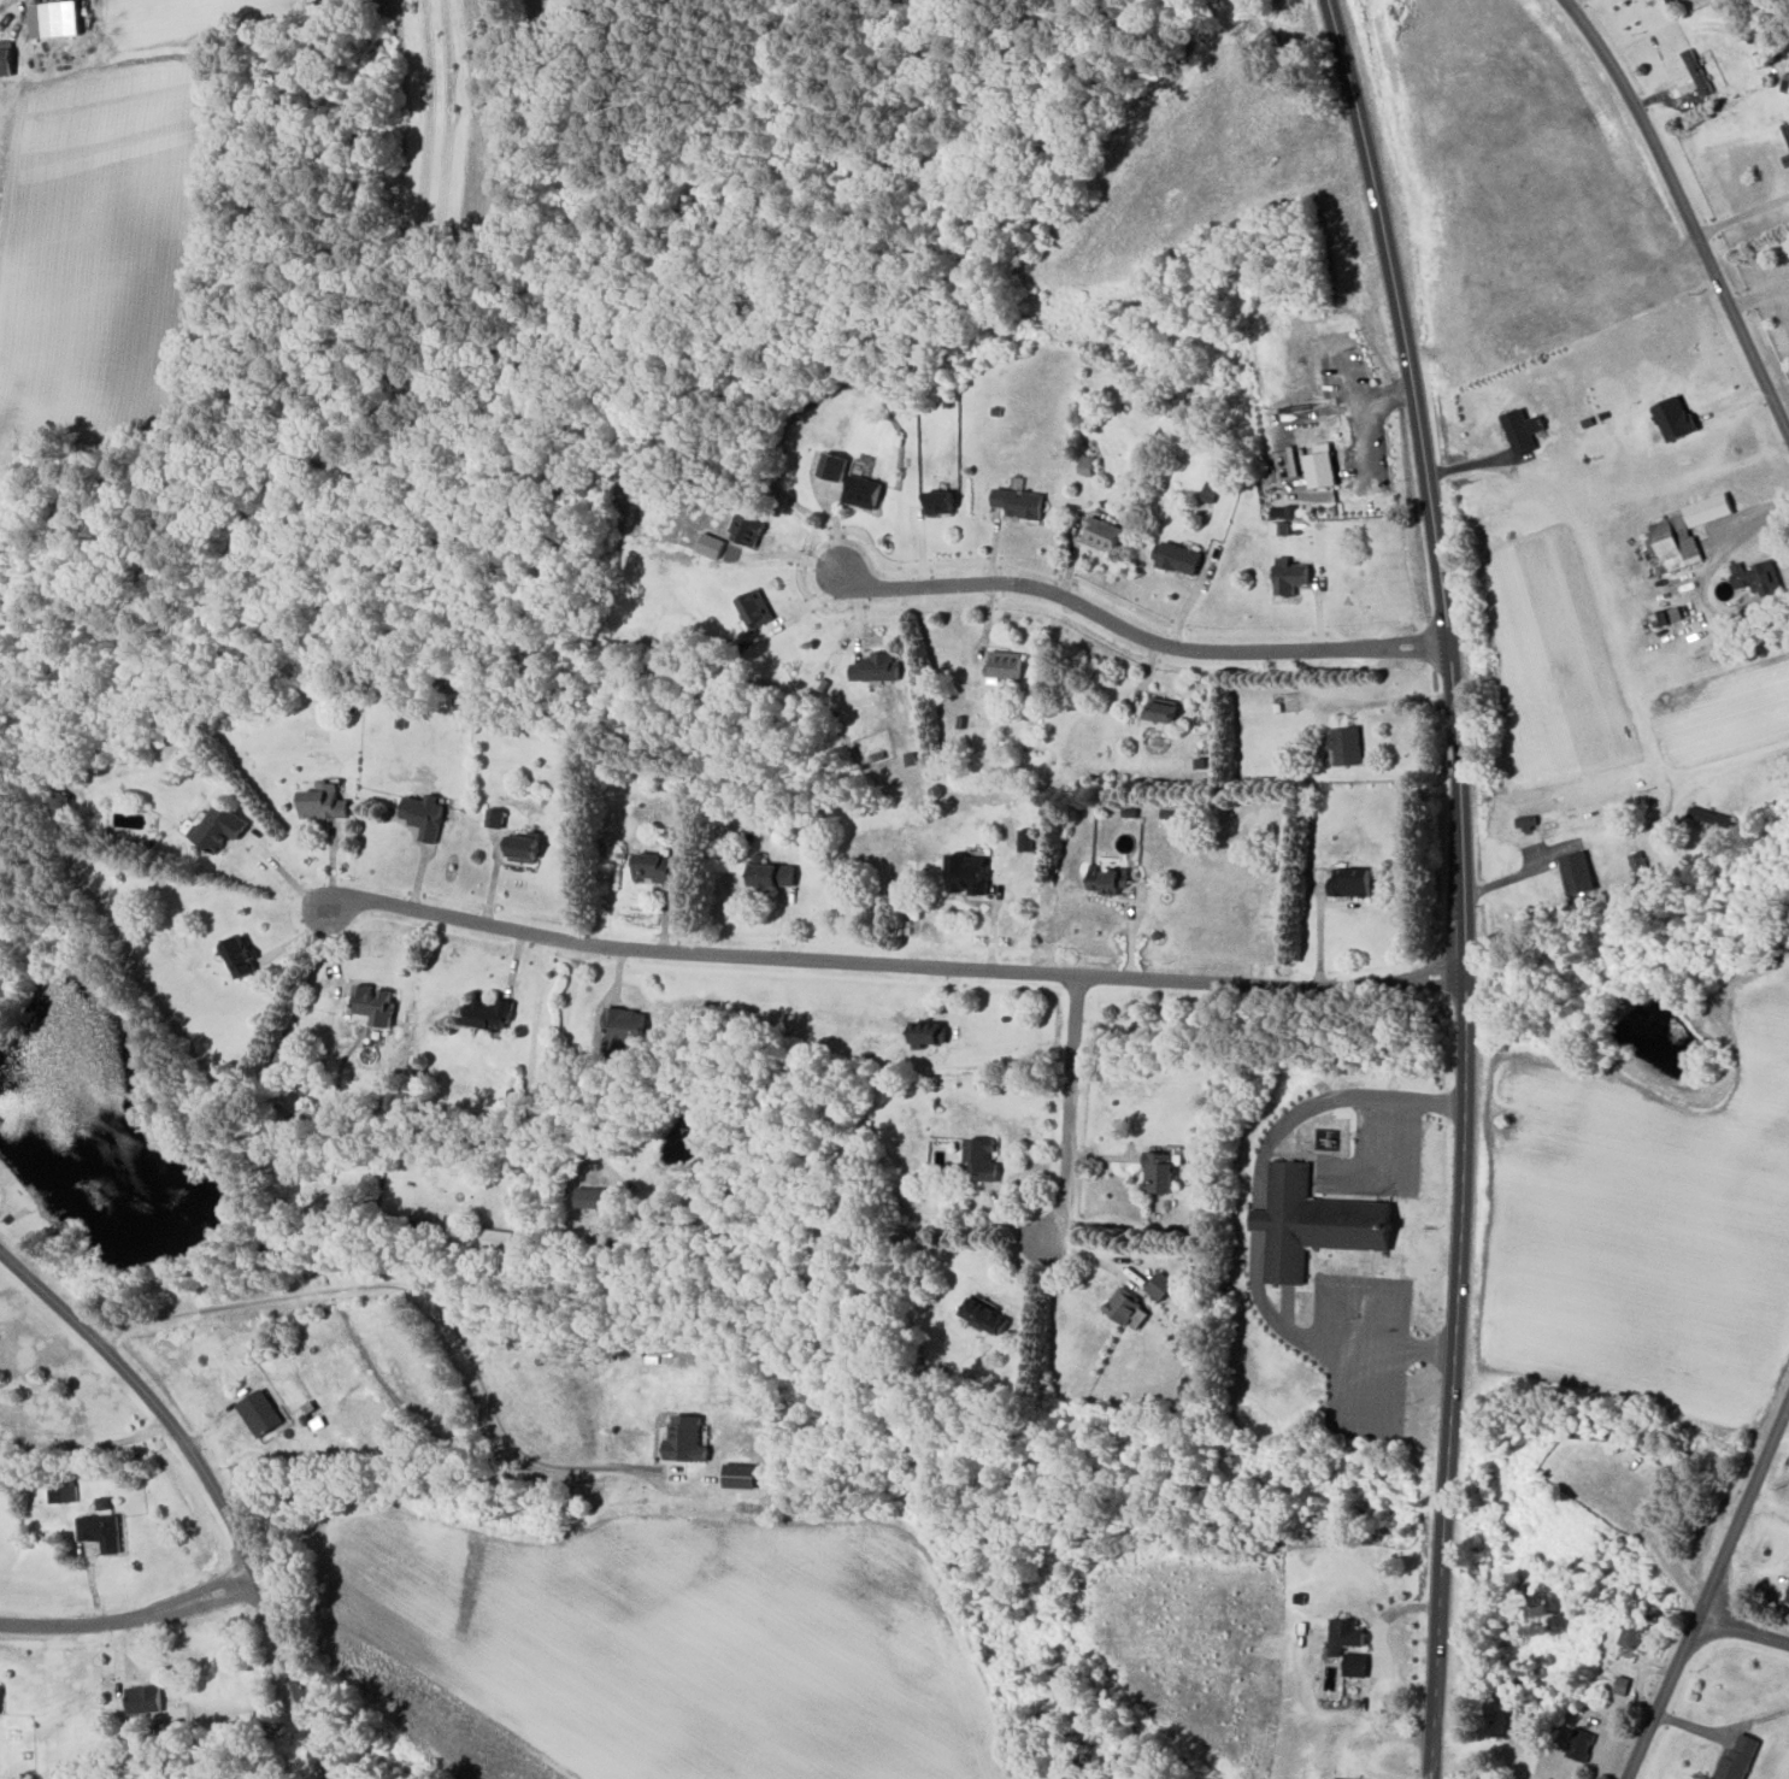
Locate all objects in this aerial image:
building: (54, 19)
building: (5, 61)
building: (1787, 131)
building: (1787, 160)
road: (1684, 211)
road: (1742, 214)
road: (1759, 298)
building: (1675, 419)
building: (1523, 431)
building: (834, 467)
building: (1322, 470)
building: (863, 493)
building: (940, 503)
building: (1019, 503)
building: (1708, 509)
building: (1283, 512)
building: (1278, 528)
building: (746, 530)
building: (1102, 535)
road: (794, 544)
building: (711, 546)
building: (1672, 546)
building: (1178, 559)
road: (1705, 575)
building: (1291, 578)
building: (1759, 578)
building: (754, 609)
building: (1667, 617)
road: (1140, 635)
building: (1005, 665)
building: (876, 668)
building: (1163, 711)
building: (1347, 746)
building: (323, 802)
building: (424, 813)
building: (1169, 814)
building: (495, 817)
building: (1526, 820)
building: (220, 826)
road: (1631, 831)
building: (525, 846)
building: (654, 867)
road: (283, 872)
building: (772, 872)
building: (969, 872)
building: (1578, 872)
building: (1108, 874)
building: (1352, 880)
road: (1461, 884)
building: (240, 955)
road: (894, 964)
building: (372, 1005)
building: (492, 1013)
building: (623, 1029)
building: (929, 1032)
road: (594, 1054)
road: (1069, 1108)
building: (982, 1157)
building: (592, 1196)
road: (1258, 1219)
building: (1313, 1223)
building: (493, 1239)
building: (1160, 1285)
road: (1360, 1291)
road: (431, 1298)
building: (1128, 1308)
building: (985, 1315)
road: (1382, 1377)
building: (259, 1412)
road: (1338, 1412)
building: (685, 1439)
road: (87, 1445)
road: (211, 1485)
building: (61, 1492)
building: (99, 1530)
road: (1656, 1541)
road: (1712, 1592)
building: (1788, 1596)
road: (130, 1618)
road: (1746, 1631)
building: (1635, 1633)
building: (1346, 1634)
building: (1357, 1663)
building: (0, 1683)
building: (143, 1698)
road: (1726, 1716)
building: (1505, 1724)
building: (1581, 1744)
building: (1738, 1759)
building: (1336, 1778)

